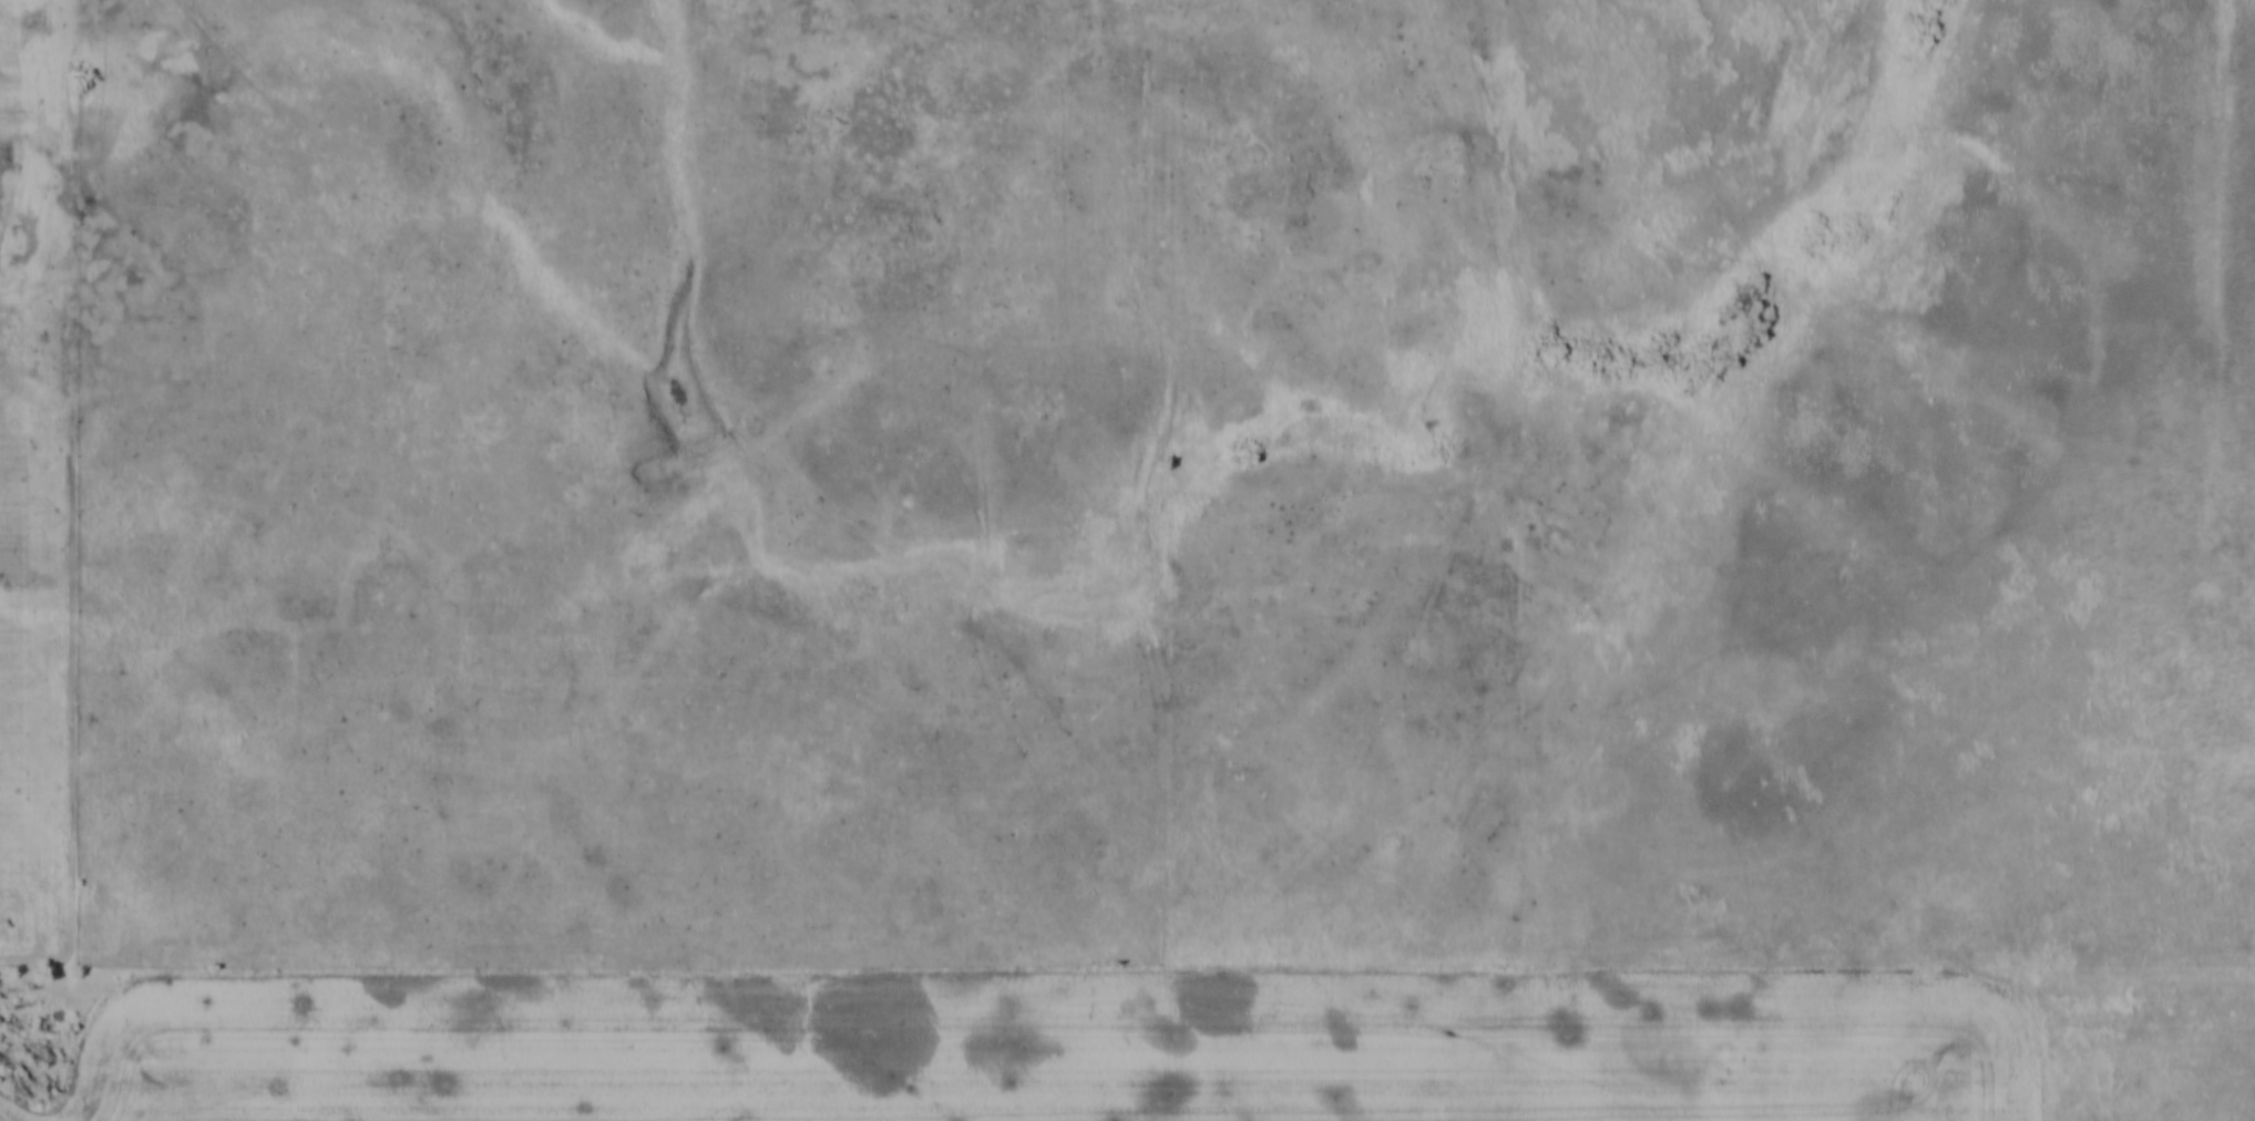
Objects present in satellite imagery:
crop: (1054, 1047)

